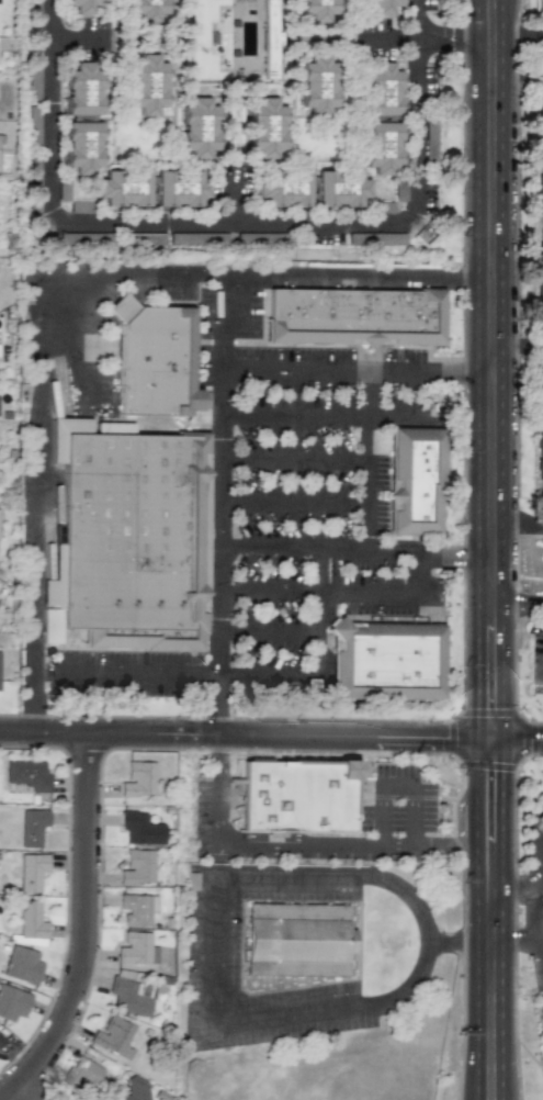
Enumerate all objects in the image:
building: (541, 2)
building: (83, 5)
building: (382, 5)
building: (147, 9)
building: (318, 11)
road: (292, 19)
building: (269, 29)
road: (512, 31)
road: (538, 31)
road: (470, 36)
road: (385, 37)
road: (431, 37)
road: (70, 38)
road: (518, 71)
building: (147, 85)
building: (317, 85)
building: (82, 89)
building: (382, 90)
building: (539, 104)
building: (199, 128)
building: (265, 128)
road: (292, 131)
building: (82, 146)
building: (382, 147)
building: (124, 188)
building: (180, 188)
building: (340, 188)
road: (234, 198)
building: (540, 206)
road: (229, 223)
road: (358, 278)
building: (540, 288)
building: (352, 316)
road: (333, 345)
building: (155, 360)
road: (363, 367)
road: (404, 367)
road: (465, 368)
road: (494, 370)
road: (514, 370)
road: (38, 415)
road: (295, 415)
road: (397, 417)
road: (293, 456)
building: (540, 457)
road: (218, 475)
parking lot: (304, 476)
building: (412, 483)
road: (292, 500)
road: (529, 523)
road: (504, 524)
road: (366, 525)
building: (131, 542)
road: (291, 543)
road: (391, 547)
road: (454, 559)
road: (463, 587)
road: (268, 592)
road: (391, 592)
road: (518, 598)
road: (321, 610)
road: (268, 629)
building: (384, 662)
road: (133, 673)
parking lot: (123, 676)
road: (267, 677)
road: (212, 705)
road: (246, 736)
road: (518, 740)
road: (494, 744)
road: (428, 752)
road: (365, 755)
road: (476, 765)
road: (487, 765)
building: (27, 775)
building: (138, 778)
road: (401, 785)
road: (217, 789)
road: (355, 794)
building: (295, 796)
road: (406, 797)
parking lot: (395, 799)
road: (383, 816)
road: (418, 817)
road: (500, 817)
road: (475, 818)
building: (539, 818)
building: (32, 827)
building: (139, 829)
road: (346, 845)
road: (477, 866)
building: (137, 867)
building: (30, 871)
road: (535, 875)
road: (290, 877)
road: (507, 883)
road: (535, 883)
road: (533, 891)
road: (541, 900)
building: (135, 909)
road: (486, 909)
road: (514, 918)
road: (541, 919)
building: (31, 920)
road: (87, 930)
building: (295, 941)
road: (486, 941)
parking lot: (214, 942)
road: (514, 944)
road: (427, 945)
road: (456, 945)
building: (136, 949)
road: (216, 949)
building: (22, 965)
road: (529, 994)
building: (131, 996)
building: (12, 1002)
road: (285, 1015)
road: (486, 1023)
building: (112, 1035)
building: (1, 1040)
road: (528, 1054)
building: (82, 1074)
building: (136, 1089)
road: (24, 1092)

